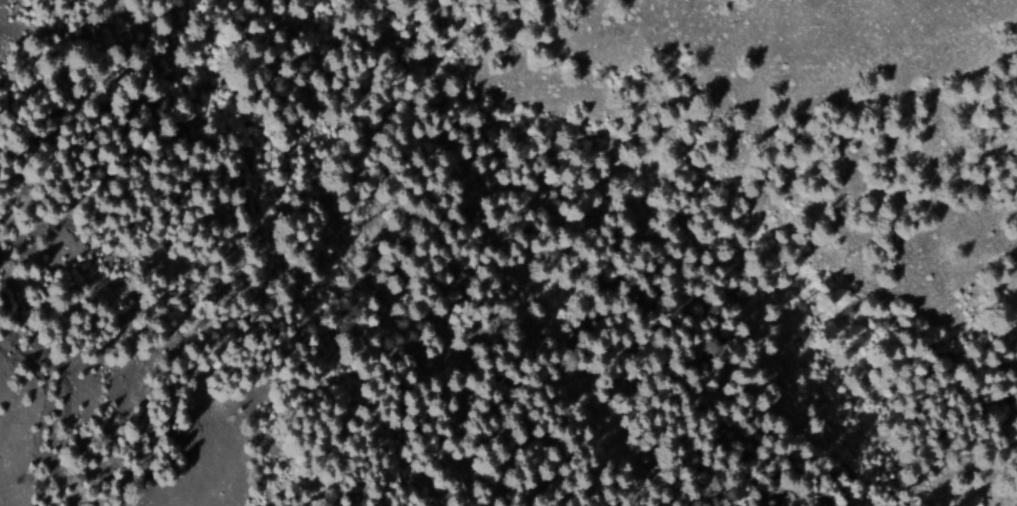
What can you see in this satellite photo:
road: (271, 257)
road: (25, 384)

